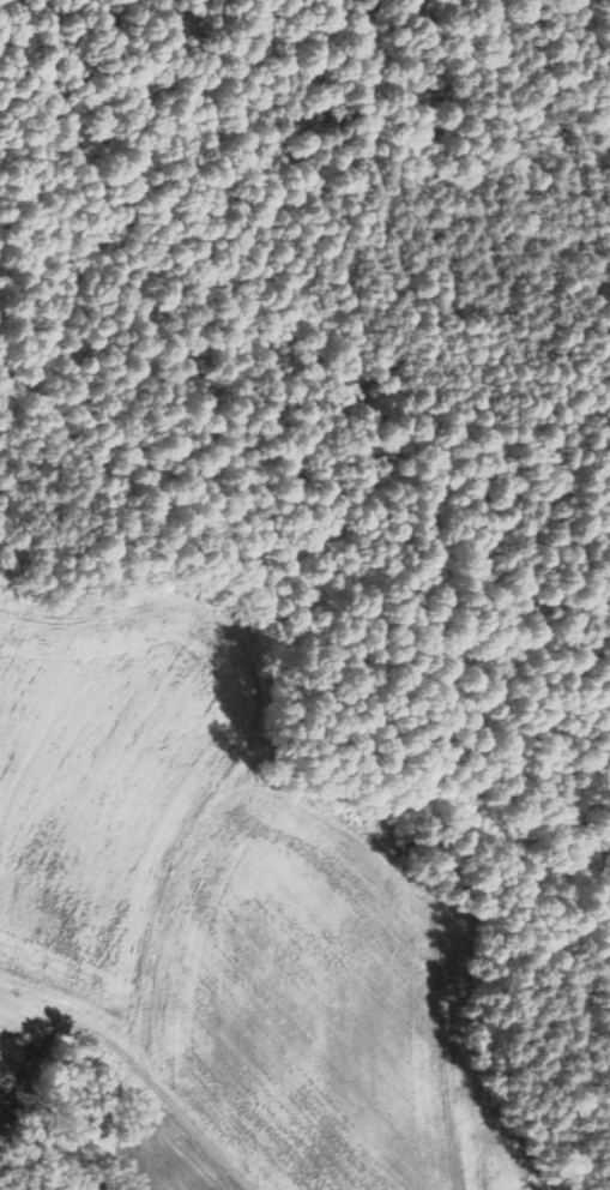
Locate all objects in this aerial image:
road: (138, 1075)

